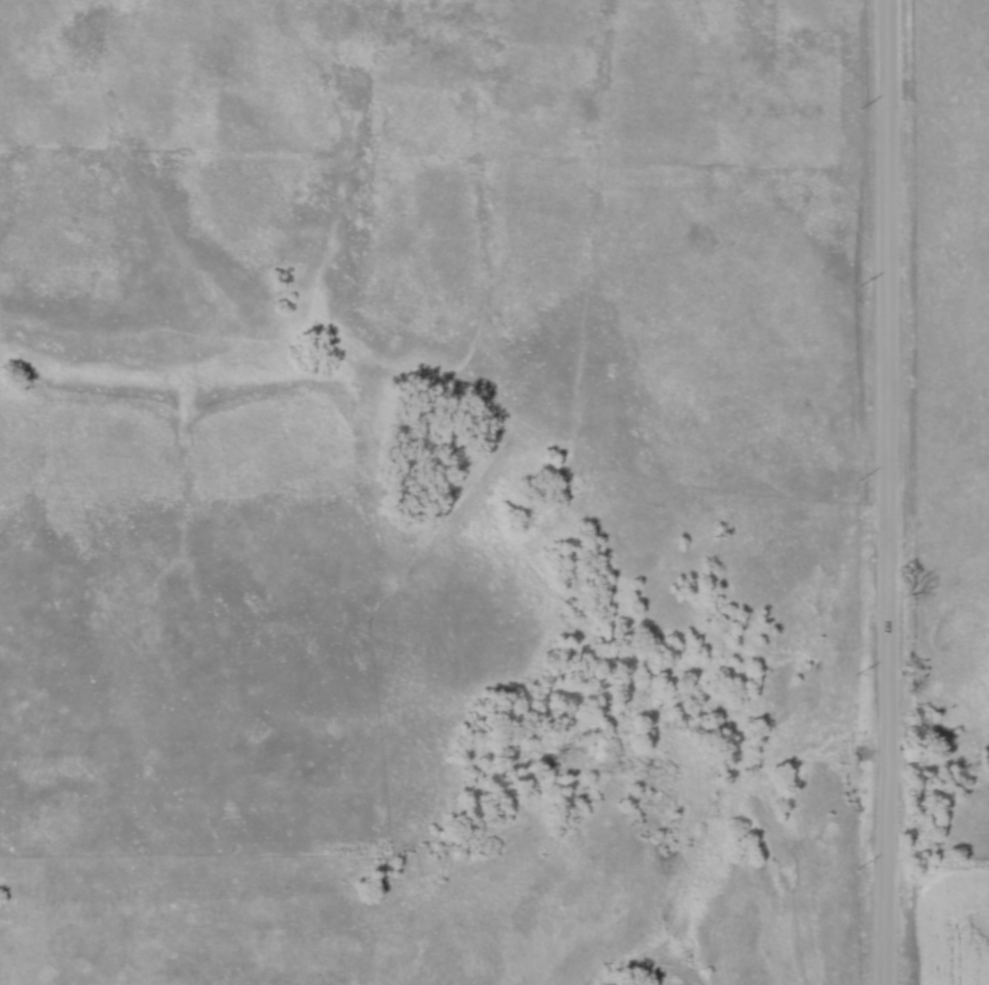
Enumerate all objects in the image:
road: (888, 492)

